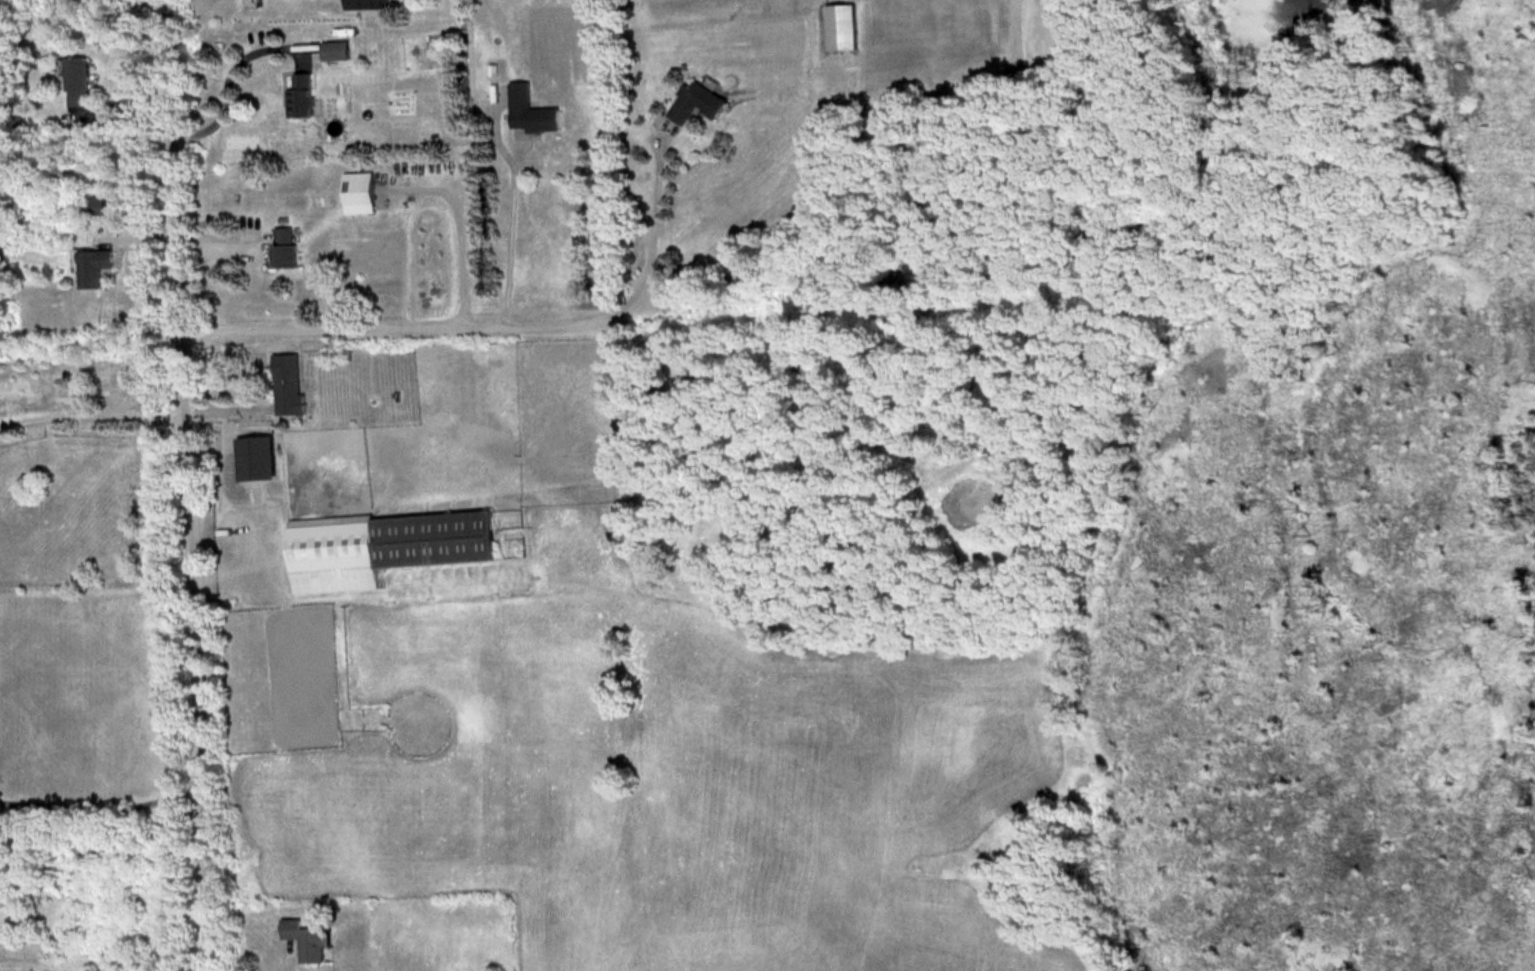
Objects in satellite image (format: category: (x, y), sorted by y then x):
building: (373, 4)
building: (843, 7)
building: (342, 50)
road: (230, 78)
building: (81, 81)
building: (306, 96)
building: (699, 103)
building: (534, 110)
building: (98, 204)
road: (515, 214)
road: (652, 233)
building: (289, 247)
building: (93, 267)
road: (410, 321)
building: (291, 385)
road: (231, 402)
road: (95, 416)
road: (195, 485)
building: (385, 547)
road: (105, 807)
building: (305, 939)

